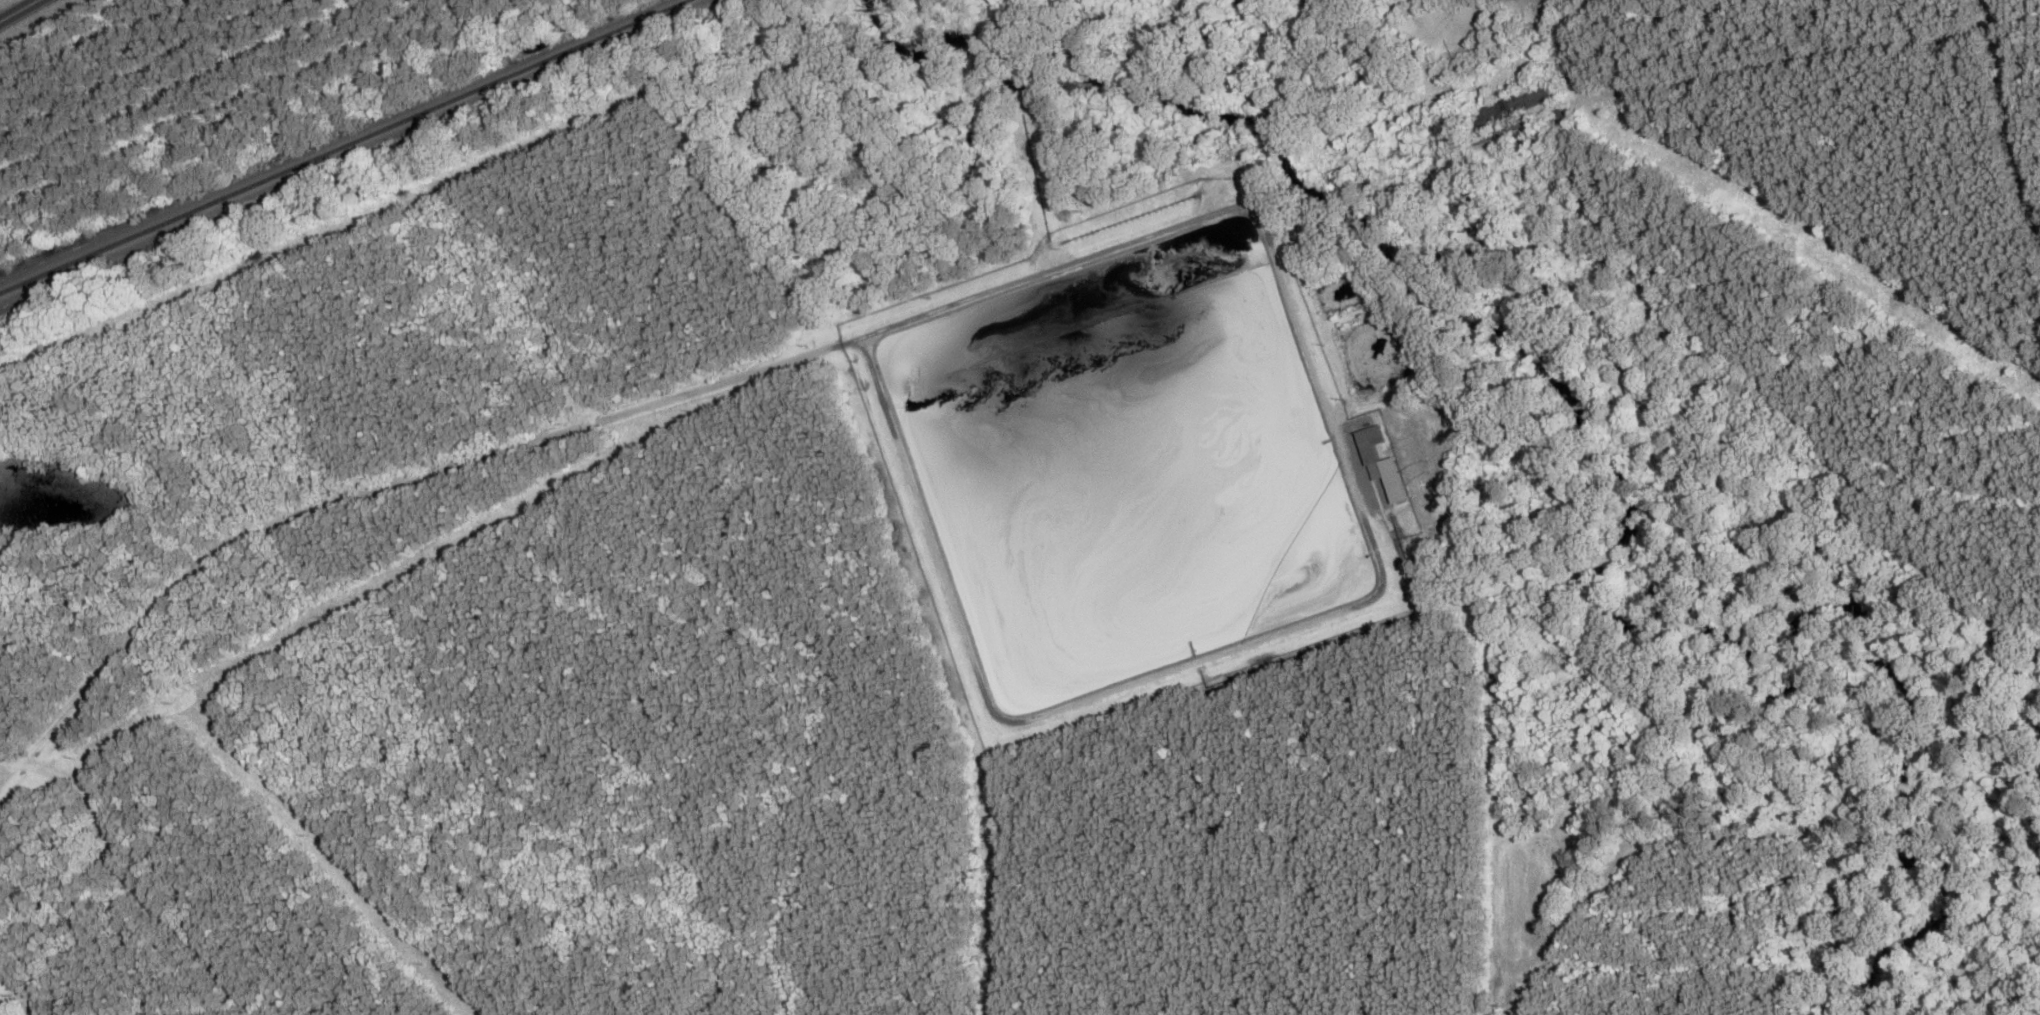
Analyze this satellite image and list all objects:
road: (15, 8)
road: (1759, 64)
road: (2021, 82)
railway: (344, 146)
building: (1369, 444)
river: (1630, 518)

